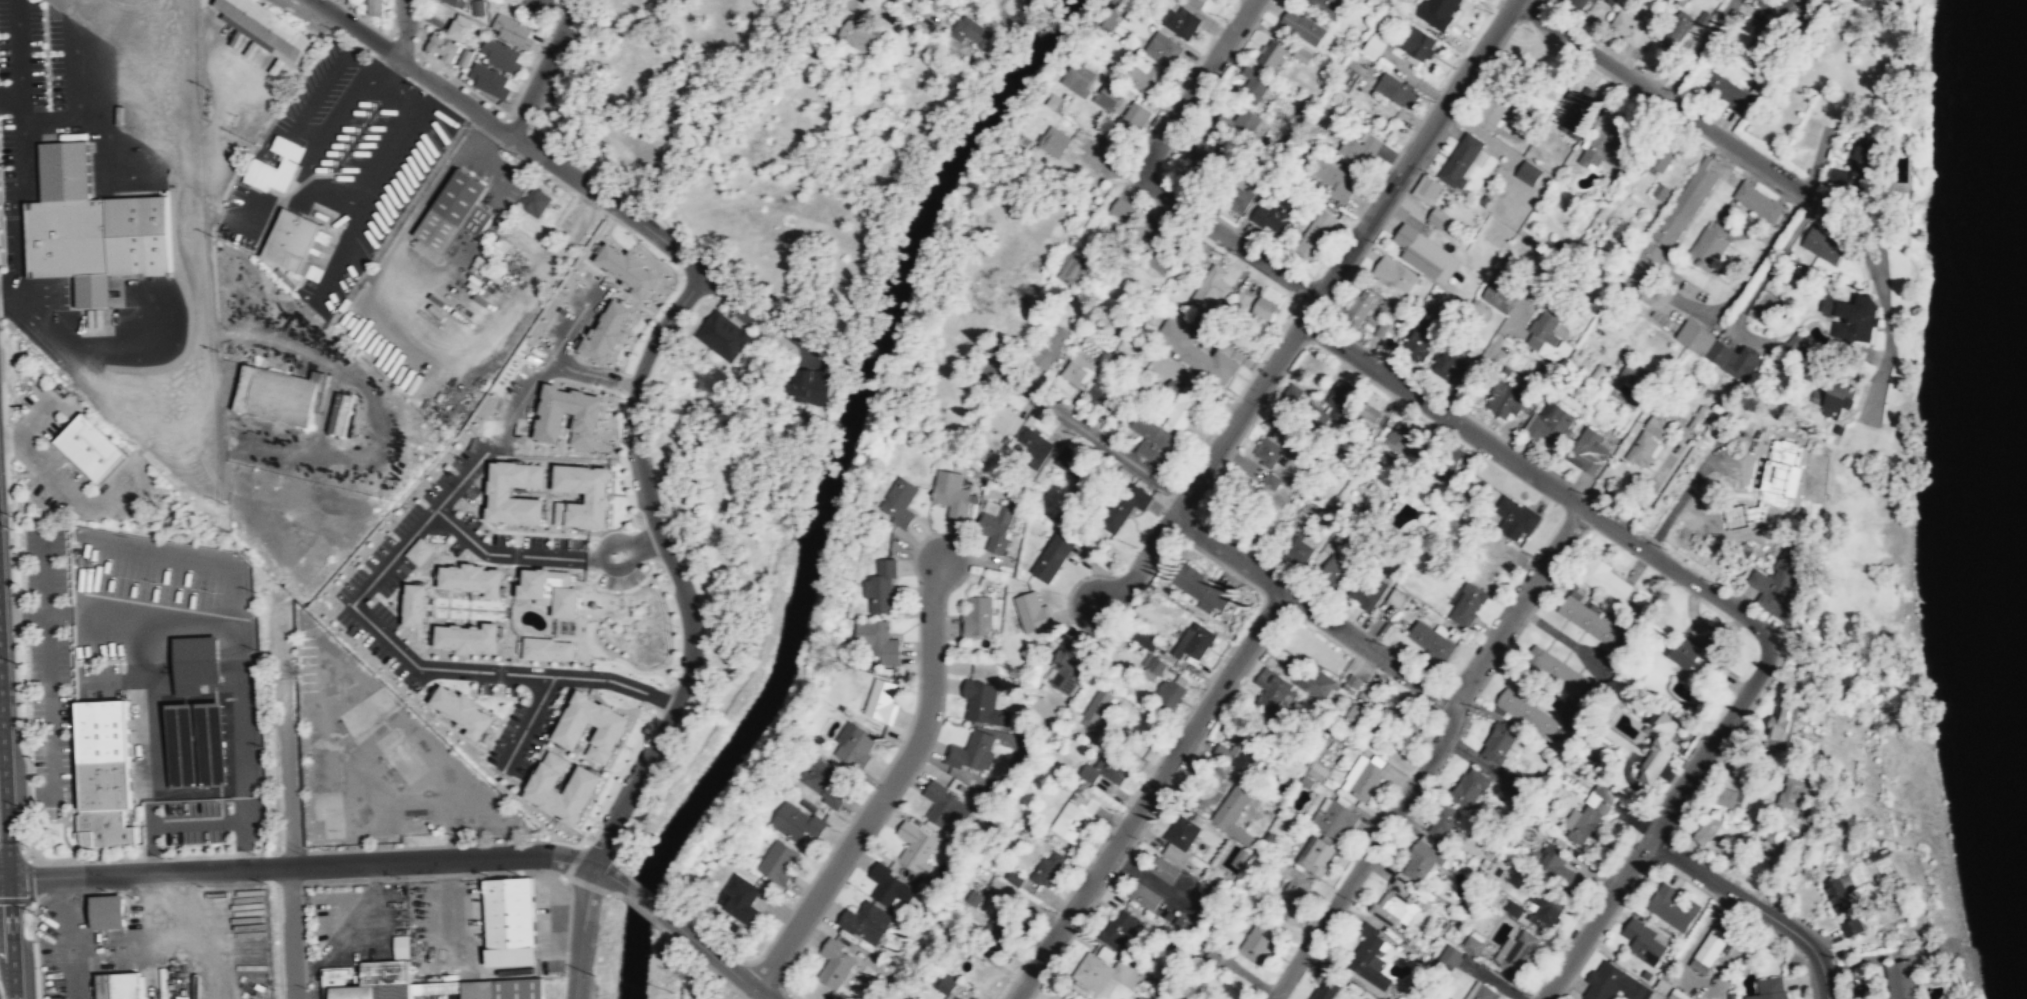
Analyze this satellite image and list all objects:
building: (454, 2)
building: (1197, 3)
building: (1577, 4)
building: (1323, 5)
building: (1871, 5)
building: (478, 7)
building: (374, 8)
building: (1787, 9)
building: (1437, 11)
street lamp: (1492, 11)
building: (1704, 18)
building: (1180, 21)
building: (460, 26)
building: (1300, 26)
building: (265, 28)
street lamp: (334, 28)
building: (1630, 28)
building: (1676, 28)
road: (404, 30)
building: (513, 30)
building: (969, 33)
building: (857, 34)
building: (1417, 42)
building: (1761, 42)
building: (1374, 45)
building: (443, 46)
building: (1162, 48)
road: (1696, 49)
building: (1301, 53)
building: (501, 55)
building: (1271, 55)
road: (17, 56)
building: (466, 57)
road: (92, 58)
road: (545, 67)
building: (1350, 73)
building: (1143, 76)
building: (1078, 78)
building: (489, 80)
building: (1254, 82)
street lamp: (414, 84)
road: (1193, 85)
road: (321, 89)
building: (1396, 89)
building: (1725, 91)
building: (1108, 95)
road: (345, 104)
road: (1674, 105)
road: (21, 106)
building: (1576, 108)
building: (1492, 112)
building: (1135, 115)
road: (490, 120)
building: (1237, 126)
road: (24, 134)
street lamp: (1089, 134)
building: (1053, 141)
building: (1602, 143)
building: (1361, 147)
street lamp: (515, 153)
building: (1659, 158)
road: (1408, 159)
building: (1463, 160)
road: (381, 162)
building: (1199, 162)
building: (1853, 169)
building: (1527, 173)
building: (259, 174)
building: (1332, 178)
building: (1426, 188)
building: (1658, 190)
street lamp: (1139, 195)
building: (1236, 197)
road: (274, 199)
building: (534, 202)
building: (1758, 202)
building: (1685, 203)
building: (1120, 209)
building: (454, 210)
building: (1274, 215)
building: (1437, 216)
building: (91, 222)
building: (1315, 233)
road: (1226, 237)
building: (291, 240)
building: (1823, 245)
building: (1706, 248)
road: (335, 249)
building: (491, 252)
building: (1153, 253)
street lamp: (1226, 254)
building: (1424, 254)
building: (1645, 262)
building: (1069, 269)
building: (1394, 273)
road: (1766, 277)
building: (1210, 285)
road: (14, 296)
building: (1498, 297)
road: (4, 298)
building: (1241, 299)
building: (1263, 309)
building: (1365, 314)
building: (1857, 315)
road: (159, 329)
building: (721, 334)
building: (1420, 339)
building: (1547, 339)
building: (1792, 341)
building: (1051, 342)
river: (2025, 347)
building: (1717, 350)
building: (1194, 351)
building: (1450, 364)
building: (1078, 371)
building: (1634, 375)
building: (808, 385)
building: (1099, 393)
building: (276, 394)
building: (1841, 396)
building: (1505, 398)
building: (1184, 404)
building: (1331, 407)
building: (342, 416)
building: (1368, 417)
road: (35, 422)
building: (1549, 423)
building: (1012, 426)
road: (1085, 430)
building: (1400, 436)
building: (1652, 436)
building: (1152, 438)
building: (90, 446)
building: (1587, 449)
building: (1269, 455)
building: (1452, 463)
building: (1070, 464)
road: (1203, 468)
building: (1786, 470)
road: (1540, 480)
road: (67, 487)
building: (1482, 487)
building: (503, 490)
building: (951, 494)
building: (601, 495)
building: (898, 501)
building: (1124, 506)
building: (1265, 508)
building: (1514, 517)
building: (995, 525)
building: (1299, 549)
building: (420, 550)
building: (1051, 558)
road: (191, 559)
building: (1334, 569)
building: (1784, 577)
building: (476, 578)
building: (1606, 579)
building: (879, 587)
building: (554, 589)
building: (1199, 590)
building: (1367, 590)
building: (419, 603)
building: (1468, 604)
road: (1316, 611)
building: (1031, 613)
building: (977, 618)
road: (195, 620)
building: (1588, 620)
building: (472, 636)
building: (1141, 638)
building: (877, 640)
building: (1431, 641)
building: (1193, 644)
road: (139, 646)
building: (549, 648)
building: (1690, 654)
building: (196, 663)
building: (306, 664)
building: (1149, 667)
building: (1065, 669)
building: (1555, 669)
building: (1314, 681)
building: (1351, 683)
building: (1273, 690)
building: (1170, 691)
building: (1365, 691)
building: (880, 700)
building: (983, 703)
road: (48, 704)
building: (1096, 709)
building: (467, 710)
building: (1527, 713)
building: (1353, 715)
building: (1403, 715)
road: (143, 720)
building: (1780, 724)
building: (611, 731)
road: (285, 739)
building: (199, 742)
building: (1494, 743)
building: (1657, 744)
building: (854, 746)
building: (972, 751)
building: (1239, 751)
road: (1431, 755)
building: (1103, 771)
building: (103, 772)
building: (1316, 772)
building: (1362, 777)
building: (587, 780)
building: (822, 782)
road: (891, 783)
building: (1467, 786)
road: (193, 790)
road: (1149, 794)
building: (1798, 794)
building: (1725, 796)
building: (945, 805)
building: (1234, 811)
building: (1076, 814)
building: (1333, 818)
building: (1584, 819)
road: (195, 822)
building: (1443, 822)
building: (795, 823)
road: (1657, 824)
building: (415, 827)
building: (1706, 829)
building: (1773, 833)
road: (7, 847)
building: (915, 848)
building: (1173, 850)
building: (1314, 855)
road: (440, 859)
building: (778, 863)
building: (1557, 865)
building: (1047, 870)
road: (609, 874)
road: (145, 875)
building: (1011, 877)
building: (1408, 881)
building: (1295, 884)
building: (889, 886)
building: (1201, 892)
building: (1144, 896)
building: (970, 897)
road: (642, 898)
building: (737, 900)
road: (1754, 906)
building: (1845, 906)
building: (1671, 908)
building: (1513, 909)
building: (1545, 910)
building: (107, 912)
building: (1181, 920)
building: (510, 921)
building: (865, 922)
building: (1003, 926)
building: (1118, 929)
road: (293, 932)
road: (581, 932)
building: (1642, 940)
building: (1258, 942)
building: (969, 944)
building: (1472, 945)
building: (400, 946)
building: (1708, 950)
building: (1214, 953)
building: (1520, 953)
road: (713, 956)
building: (1368, 956)
building: (1448, 956)
building: (835, 964)
building: (1103, 973)
road: (1249, 976)
building: (1899, 980)
building: (369, 981)
building: (1613, 984)
building: (117, 985)
building: (946, 986)
building: (427, 987)
building: (502, 988)
building: (1769, 989)
building: (1326, 990)
building: (1482, 992)
building: (1675, 994)

